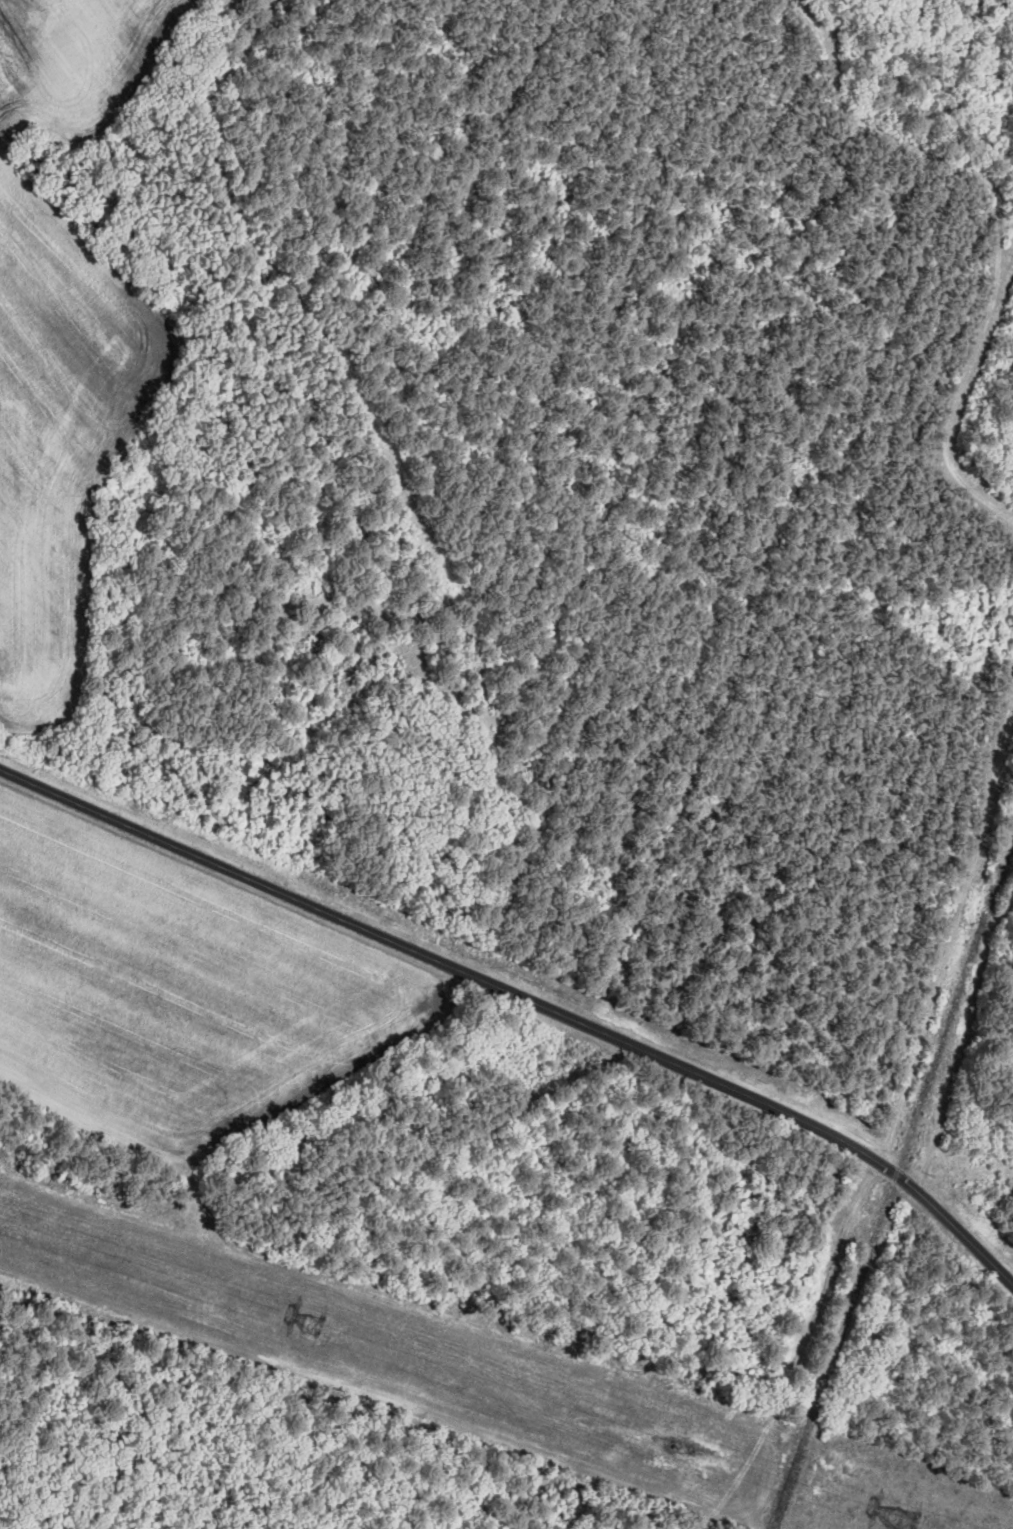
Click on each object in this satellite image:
road: (524, 998)
railway: (892, 1183)
power tower: (314, 1320)
power tower: (908, 1509)

